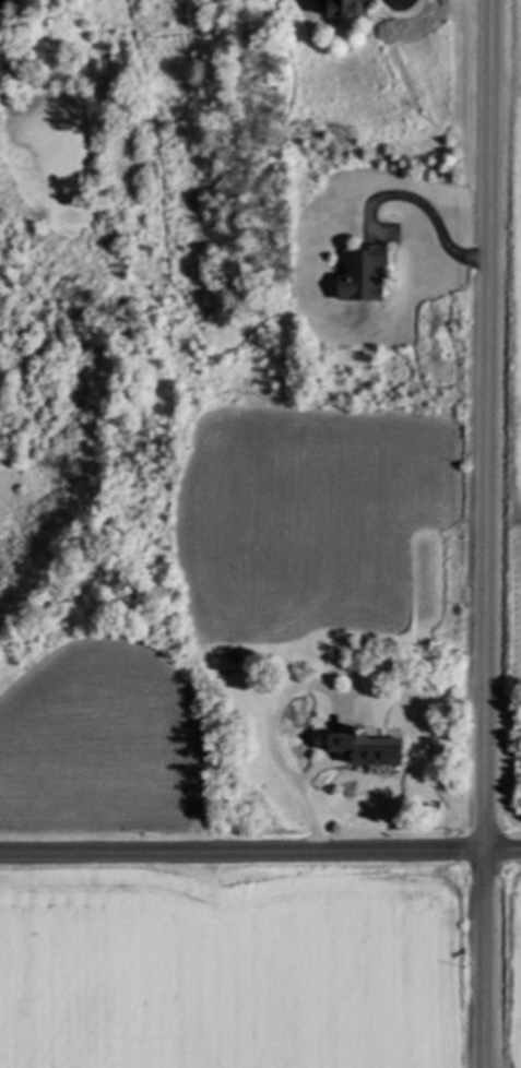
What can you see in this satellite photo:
building: (347, 9)
road: (428, 212)
building: (364, 276)
crop: (508, 359)
road: (488, 533)
road: (273, 747)
building: (370, 752)
road: (504, 852)
road: (242, 853)
crop: (511, 962)
crop: (236, 969)

